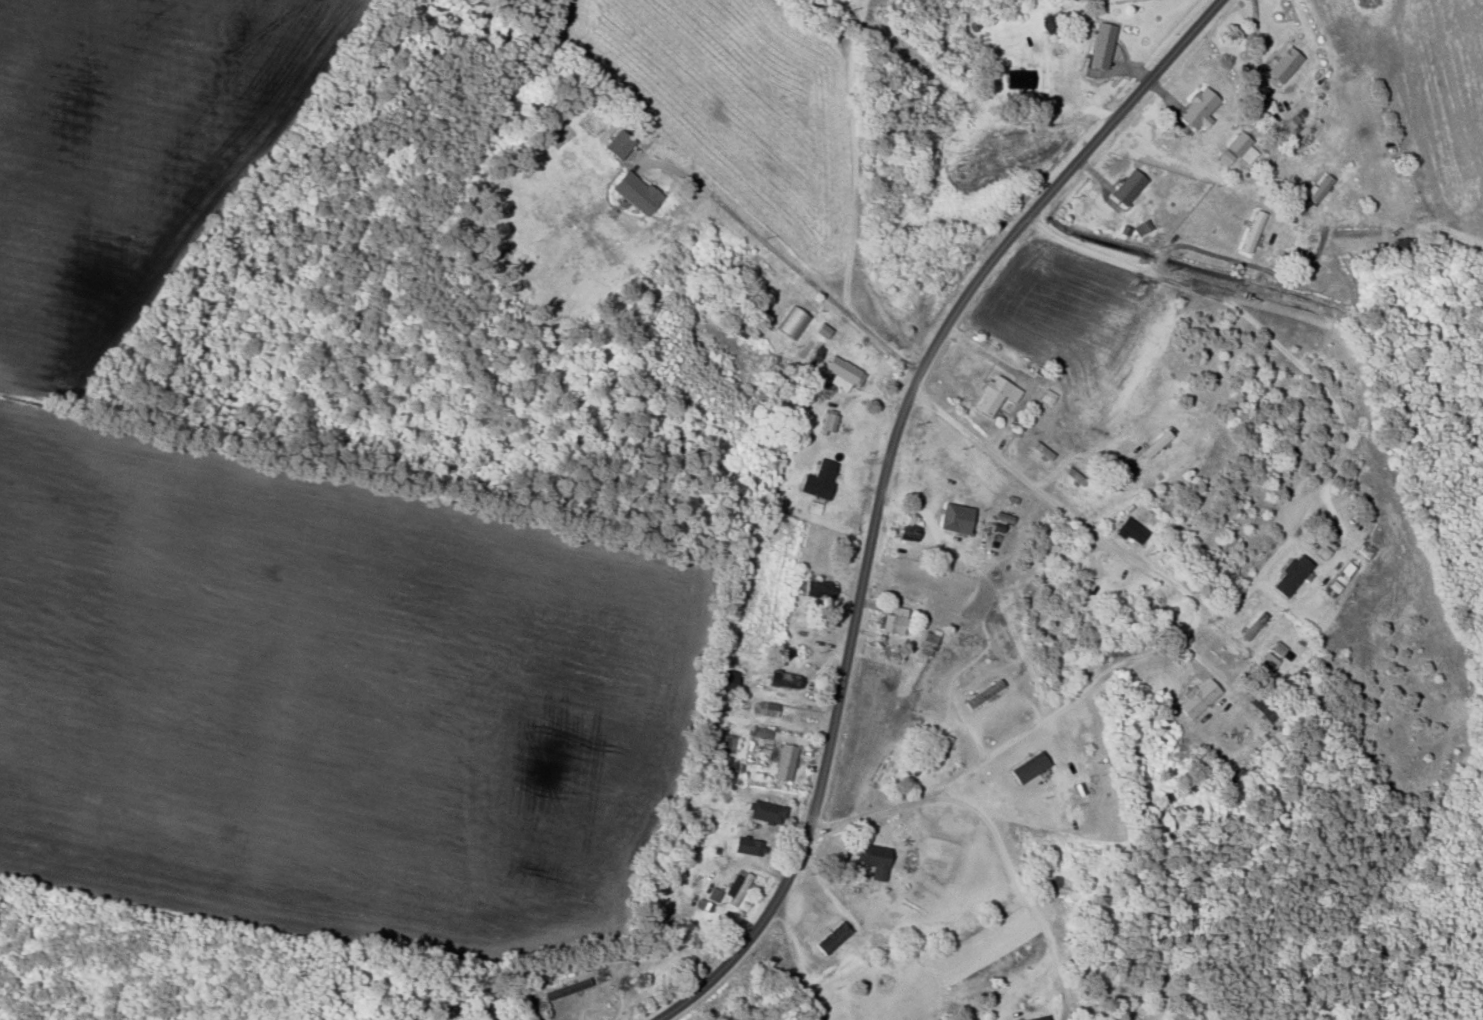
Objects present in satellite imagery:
building: (1099, 45)
building: (1281, 64)
building: (1017, 78)
building: (1196, 107)
building: (616, 144)
building: (1236, 149)
building: (1125, 186)
building: (1316, 187)
road: (855, 189)
building: (632, 191)
building: (1250, 231)
road: (790, 262)
building: (841, 373)
building: (993, 394)
building: (1045, 396)
building: (825, 423)
building: (1153, 444)
building: (816, 479)
road: (881, 485)
road: (1061, 504)
building: (953, 517)
building: (1129, 530)
building: (1289, 575)
building: (818, 588)
building: (892, 620)
building: (1280, 651)
building: (1267, 661)
building: (724, 678)
building: (779, 679)
building: (1196, 698)
road: (1068, 701)
building: (765, 708)
building: (723, 742)
building: (782, 761)
building: (1027, 767)
building: (764, 811)
building: (745, 845)
building: (873, 860)
road: (1014, 876)
building: (734, 887)
building: (830, 937)
building: (1037, 1018)

